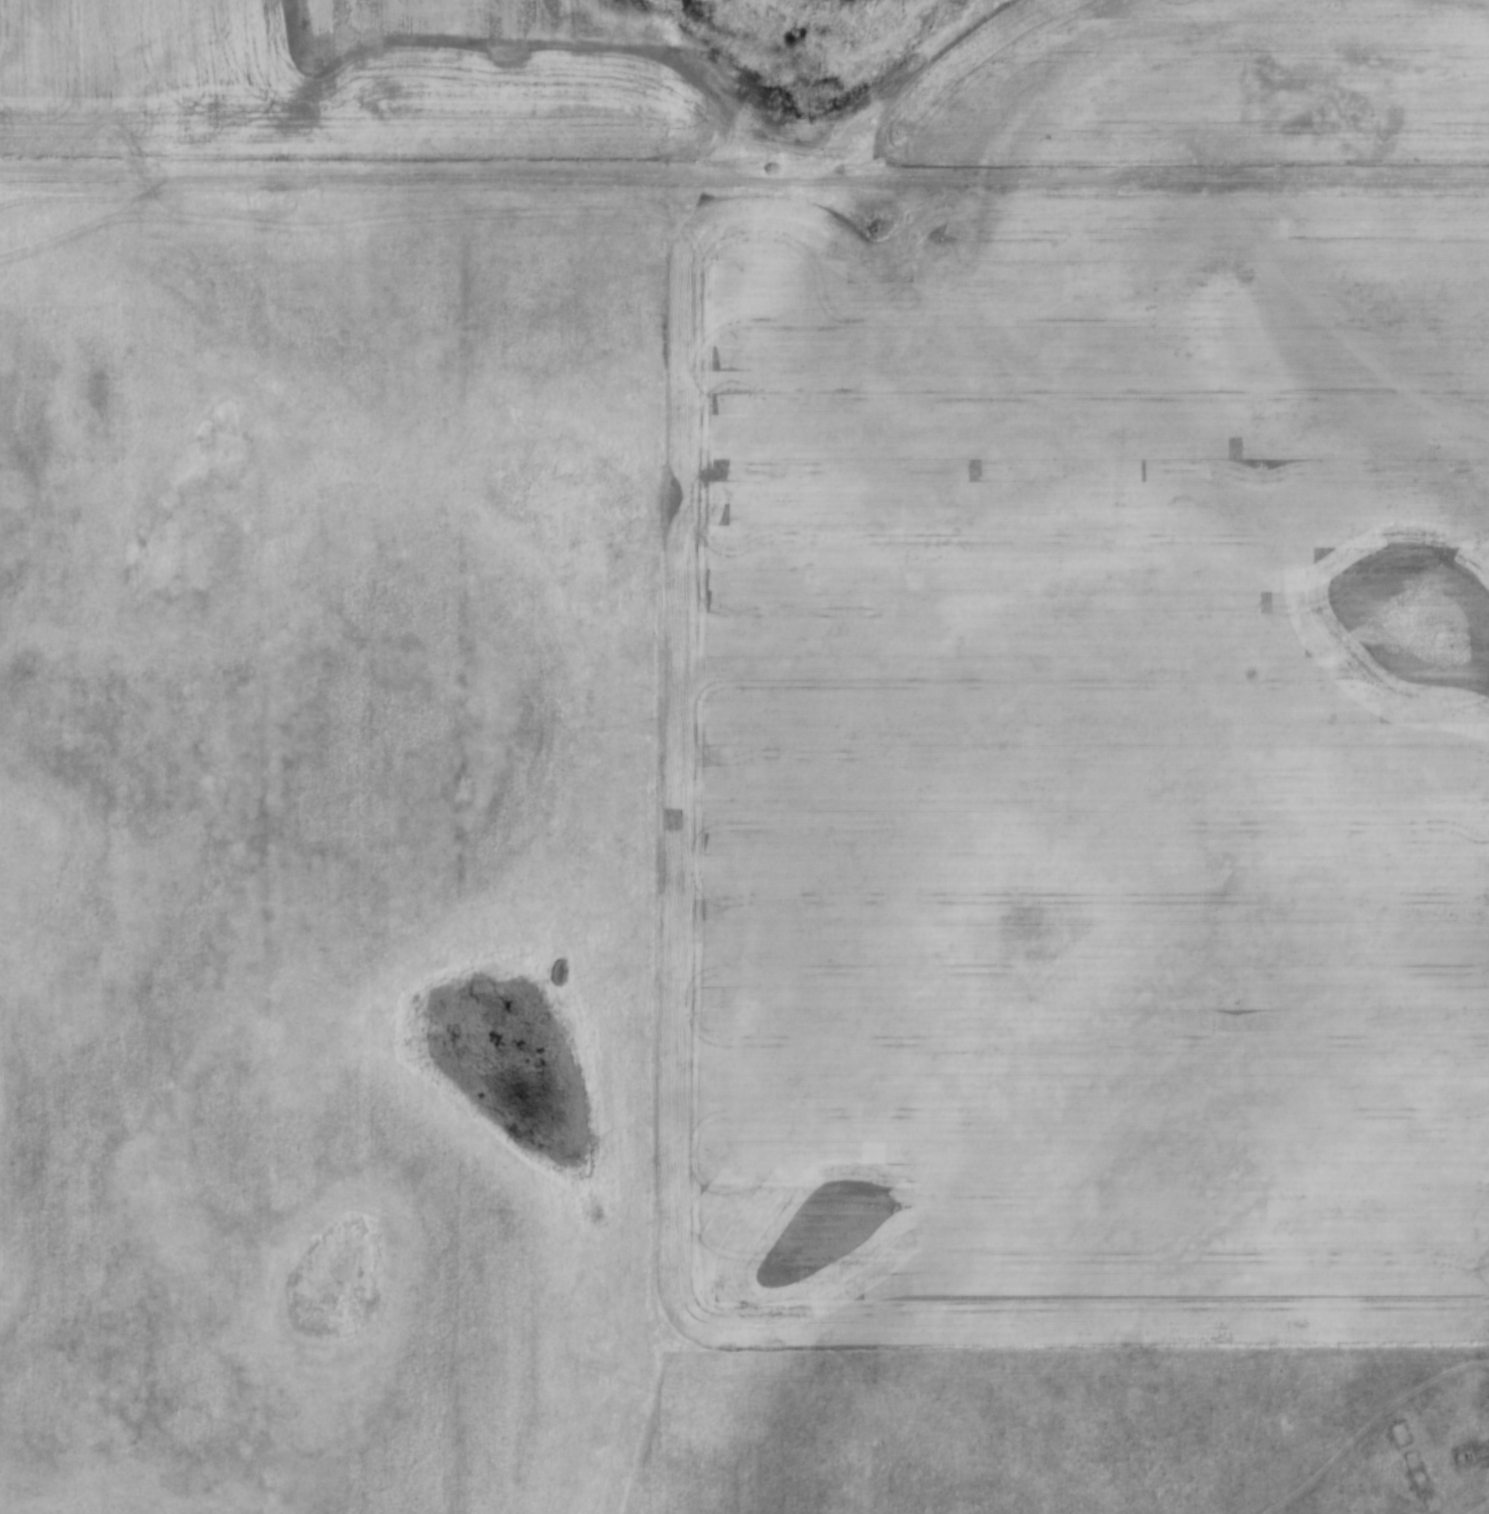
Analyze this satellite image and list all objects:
road: (744, 173)

